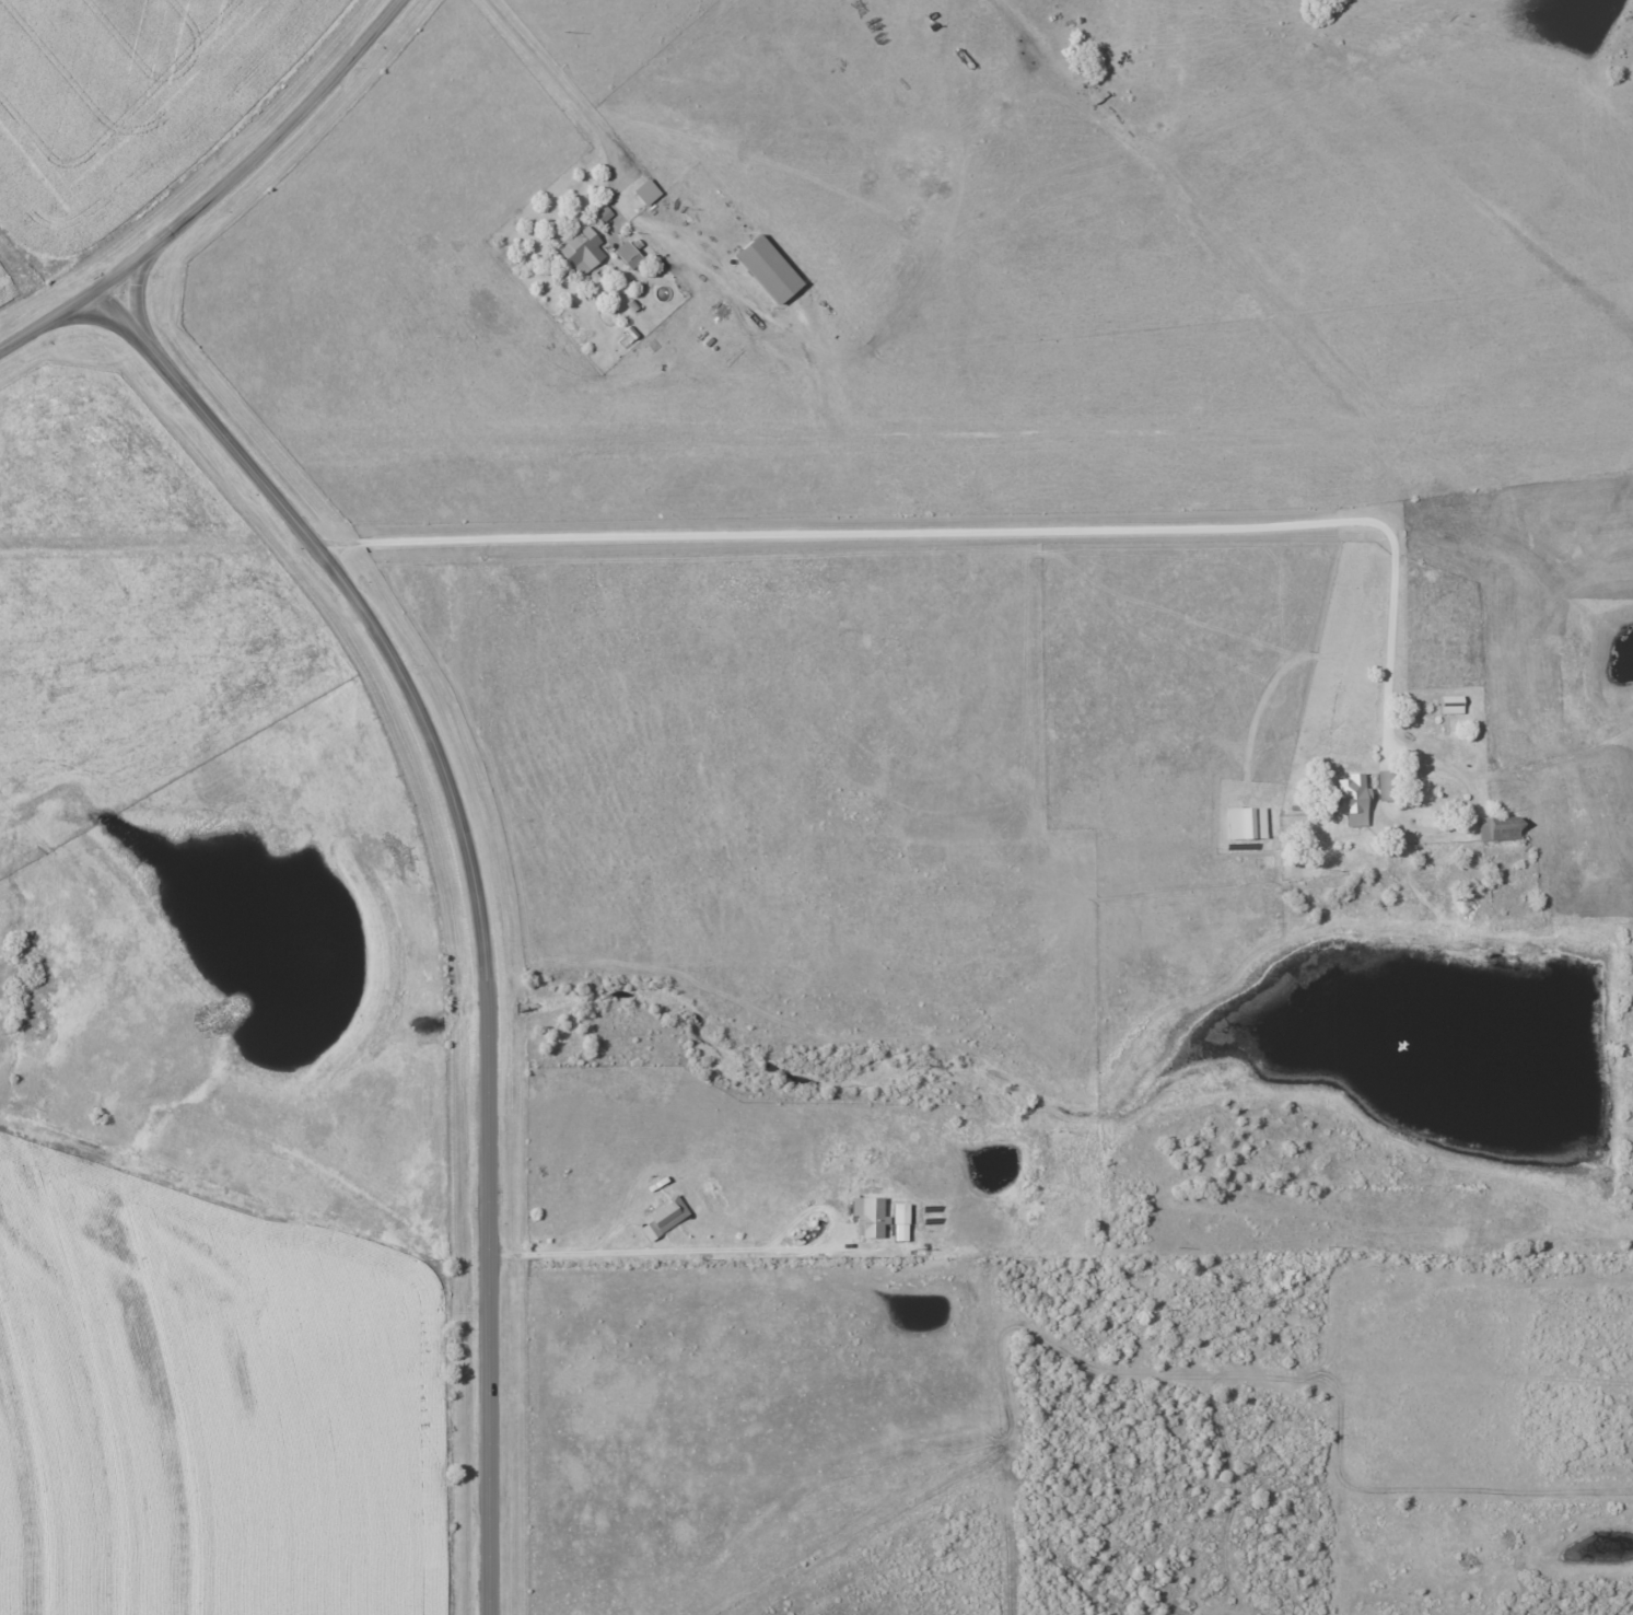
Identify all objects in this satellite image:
road: (556, 82)
building: (646, 191)
road: (218, 194)
building: (603, 213)
building: (582, 249)
building: (628, 254)
building: (769, 269)
road: (965, 532)
building: (1387, 785)
road: (1470, 790)
building: (1353, 799)
building: (1246, 823)
building: (1498, 828)
road: (471, 893)
crop: (112, 974)
building: (870, 1215)
building: (664, 1217)
building: (900, 1221)
crop: (155, 1228)
road: (660, 1260)
road: (439, 1313)
road: (464, 1313)
crop: (224, 1451)

